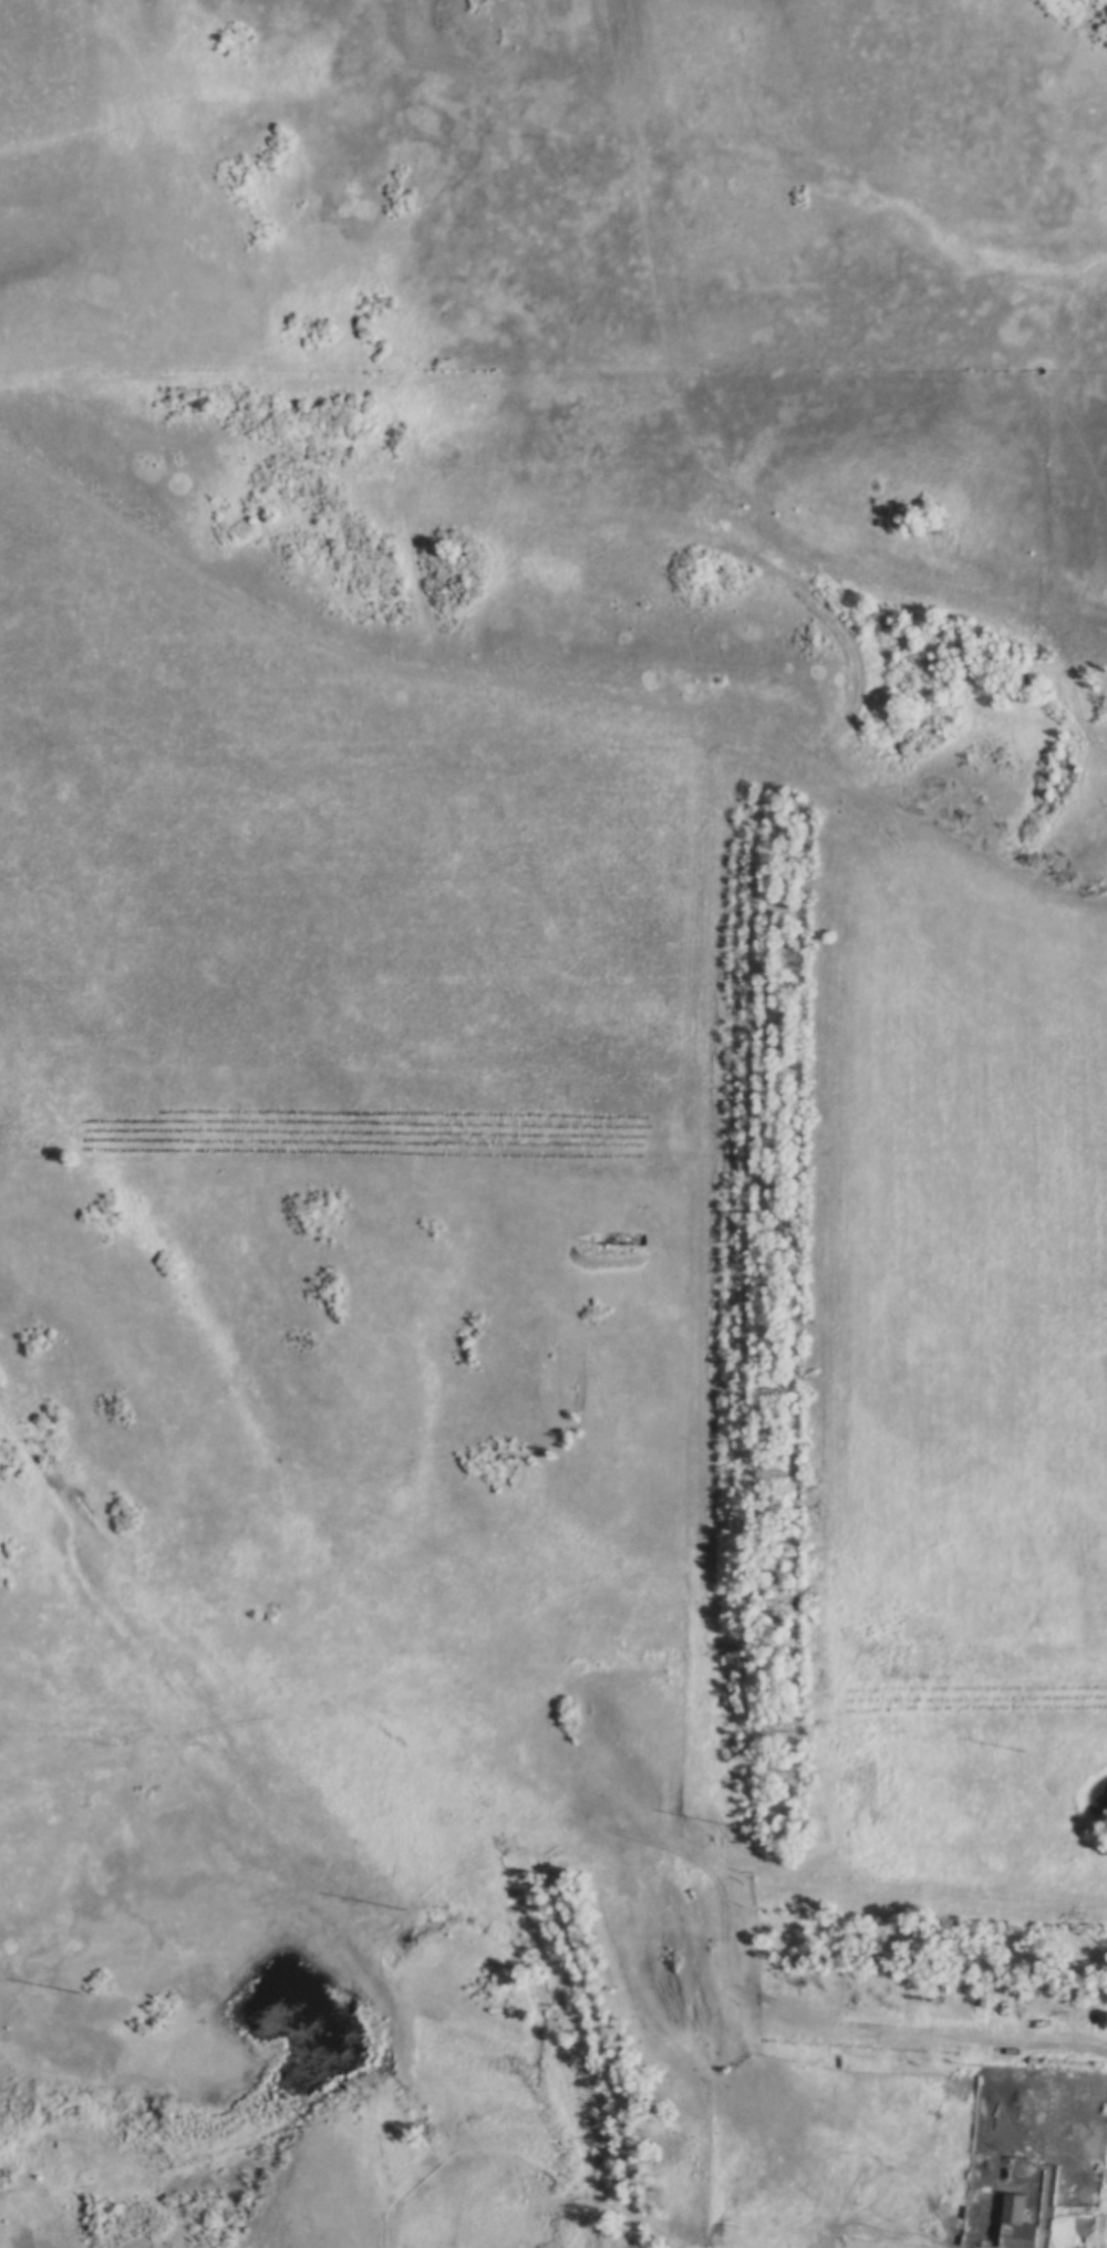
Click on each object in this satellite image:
road: (785, 2023)
building: (1013, 2218)

